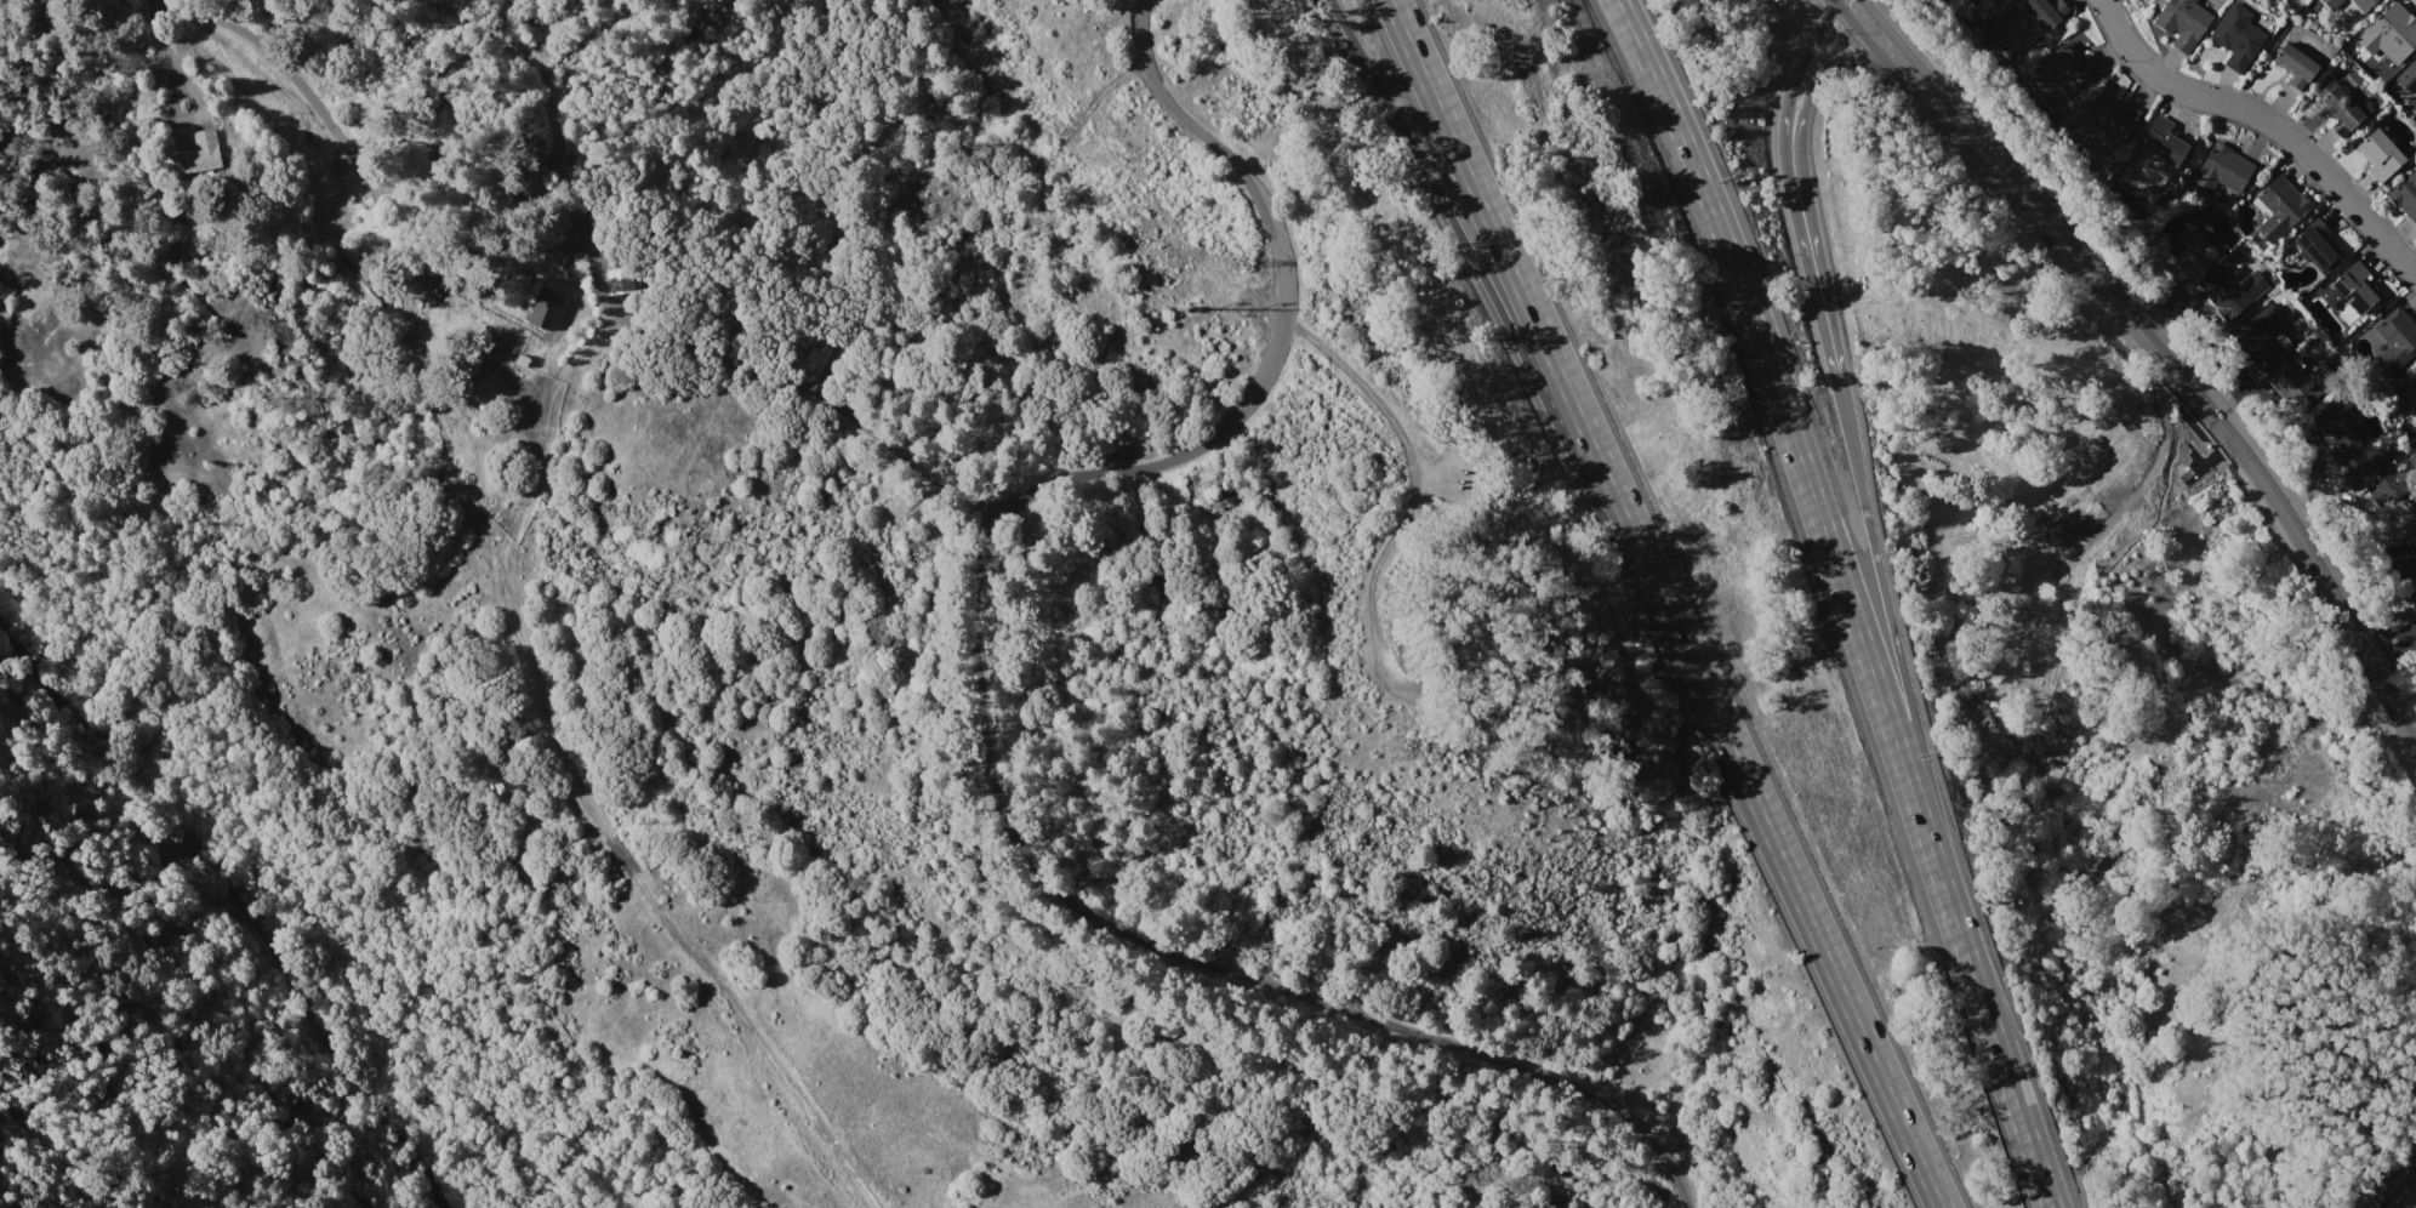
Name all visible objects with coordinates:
building: (2331, 4)
building: (2361, 4)
building: (2045, 12)
building: (2182, 22)
building: (2392, 29)
building: (2235, 35)
road: (1806, 63)
building: (2294, 65)
building: (2067, 67)
road: (1829, 73)
building: (2408, 76)
building: (2116, 84)
building: (2341, 104)
building: (2110, 118)
road: (2267, 119)
building: (2164, 142)
building: (200, 152)
building: (2378, 154)
building: (2222, 169)
road: (369, 176)
road: (839, 184)
building: (2405, 193)
road: (1440, 203)
building: (2280, 209)
building: (2200, 241)
building: (2314, 251)
road: (1811, 253)
power tower: (1225, 262)
building: (617, 281)
building: (2354, 289)
building: (2230, 291)
power tower: (1190, 307)
building: (543, 308)
building: (2261, 335)
building: (2394, 338)
road: (1544, 341)
road: (2158, 358)
road: (752, 365)
building: (2415, 376)
building: (2300, 383)
building: (2412, 410)
building: (2344, 433)
road: (1790, 437)
building: (2384, 479)
road: (1623, 545)
road: (1388, 564)
building: (2408, 568)
road: (1893, 628)
road: (2391, 643)
road: (980, 705)
power tower: (1390, 747)
road: (574, 785)
road: (234, 907)
road: (1820, 945)
road: (1995, 1045)
building: (2359, 1200)

